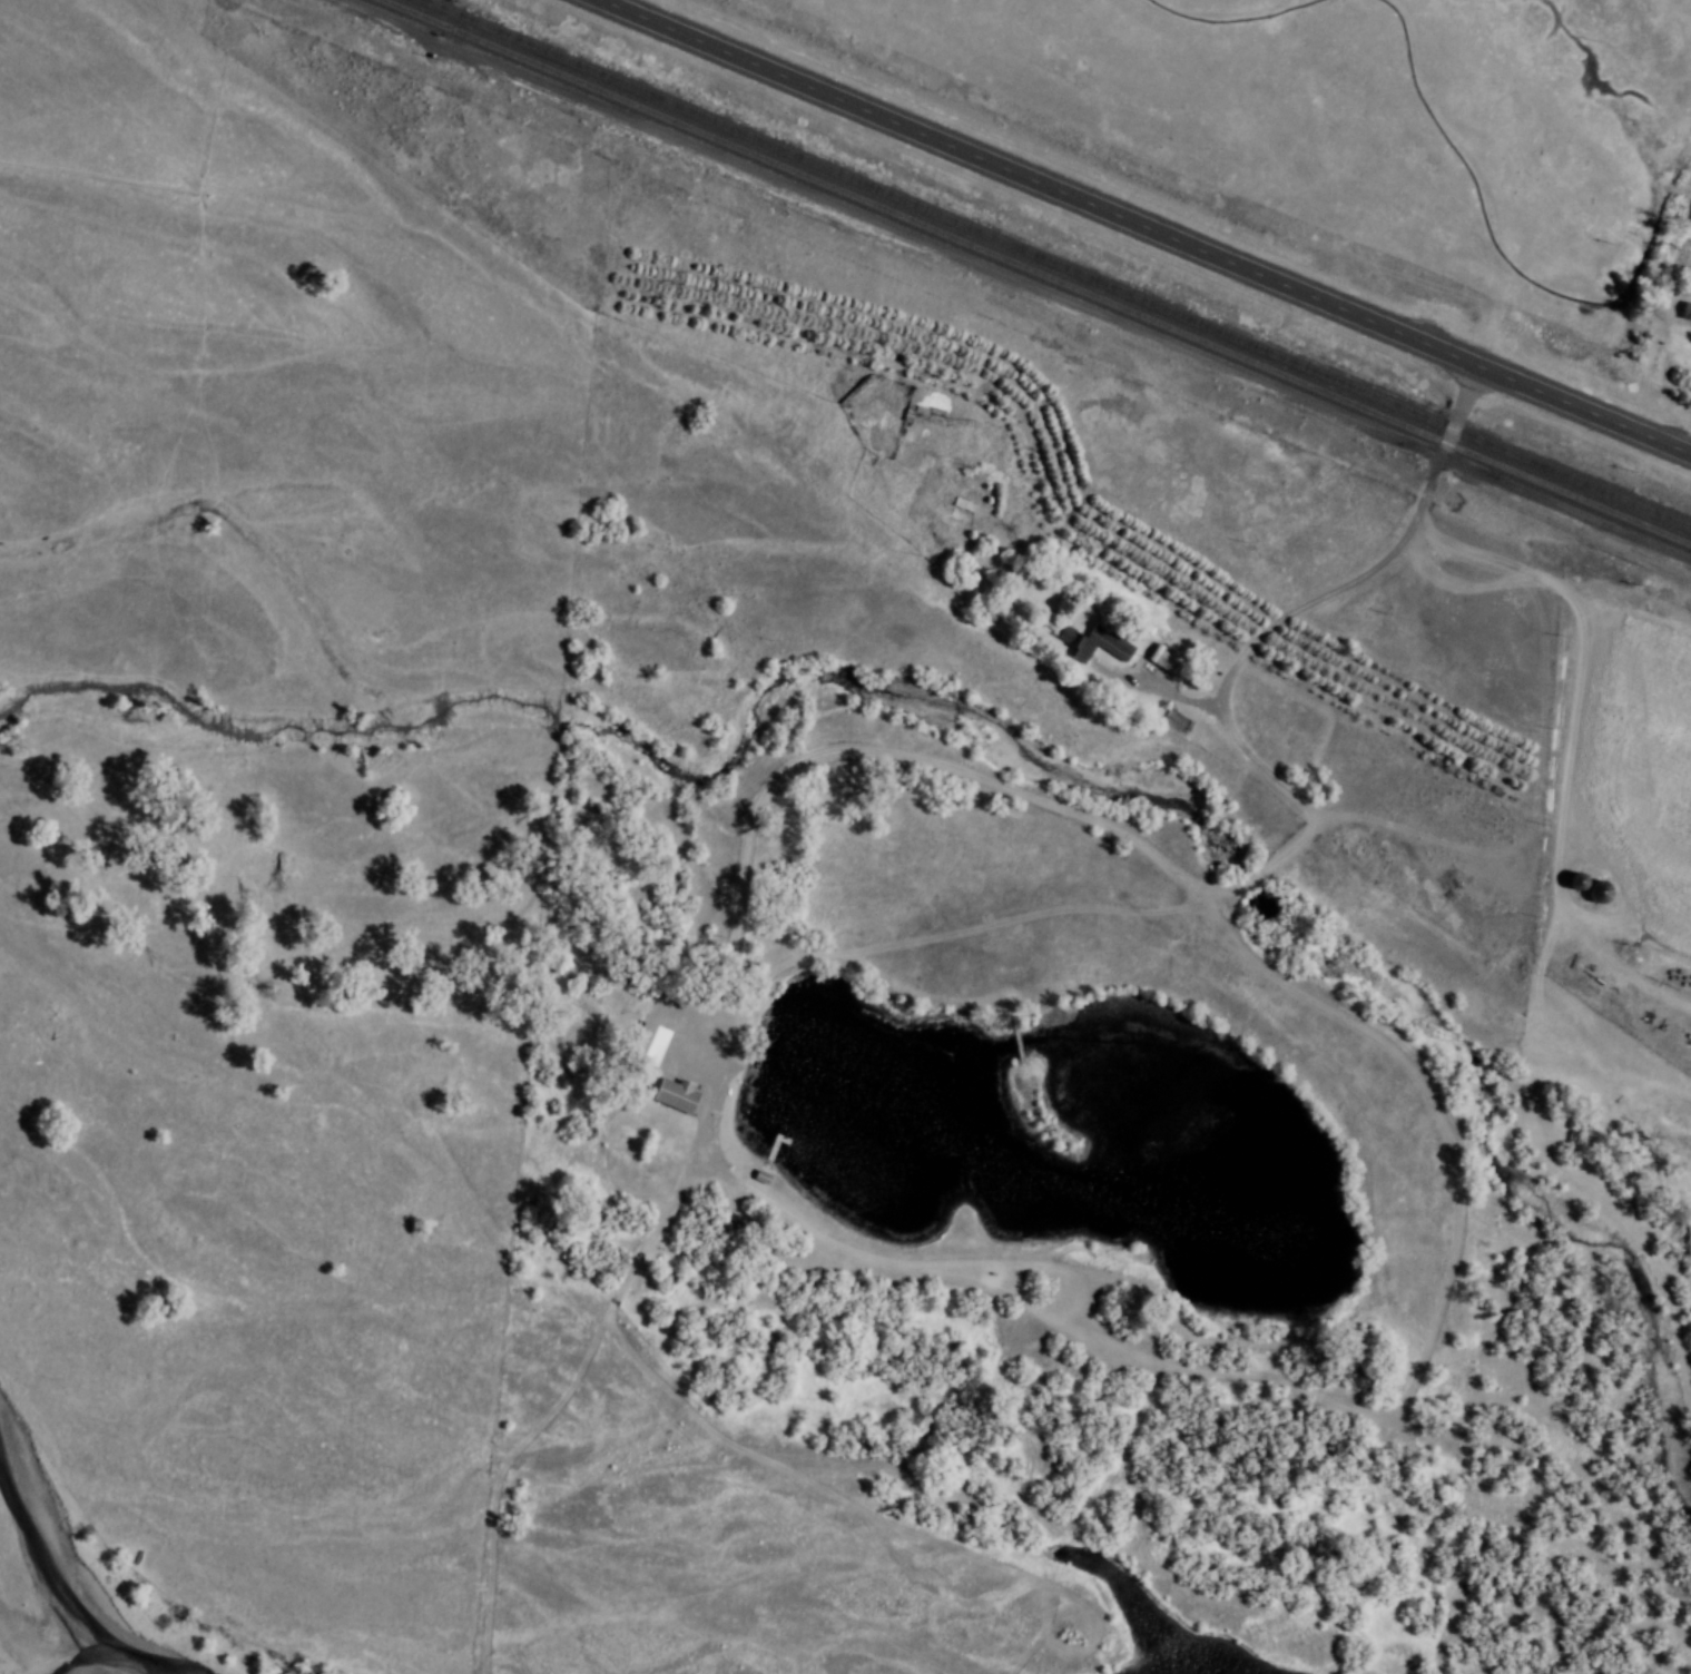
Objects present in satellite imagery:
road: (1144, 226)
railway: (1055, 264)
railway: (1038, 272)
building: (1687, 313)
building: (925, 413)
road: (1345, 584)
building: (1095, 641)
building: (1164, 661)
building: (1176, 721)
building: (1600, 893)
building: (649, 1043)
building: (675, 1094)
building: (761, 1176)

